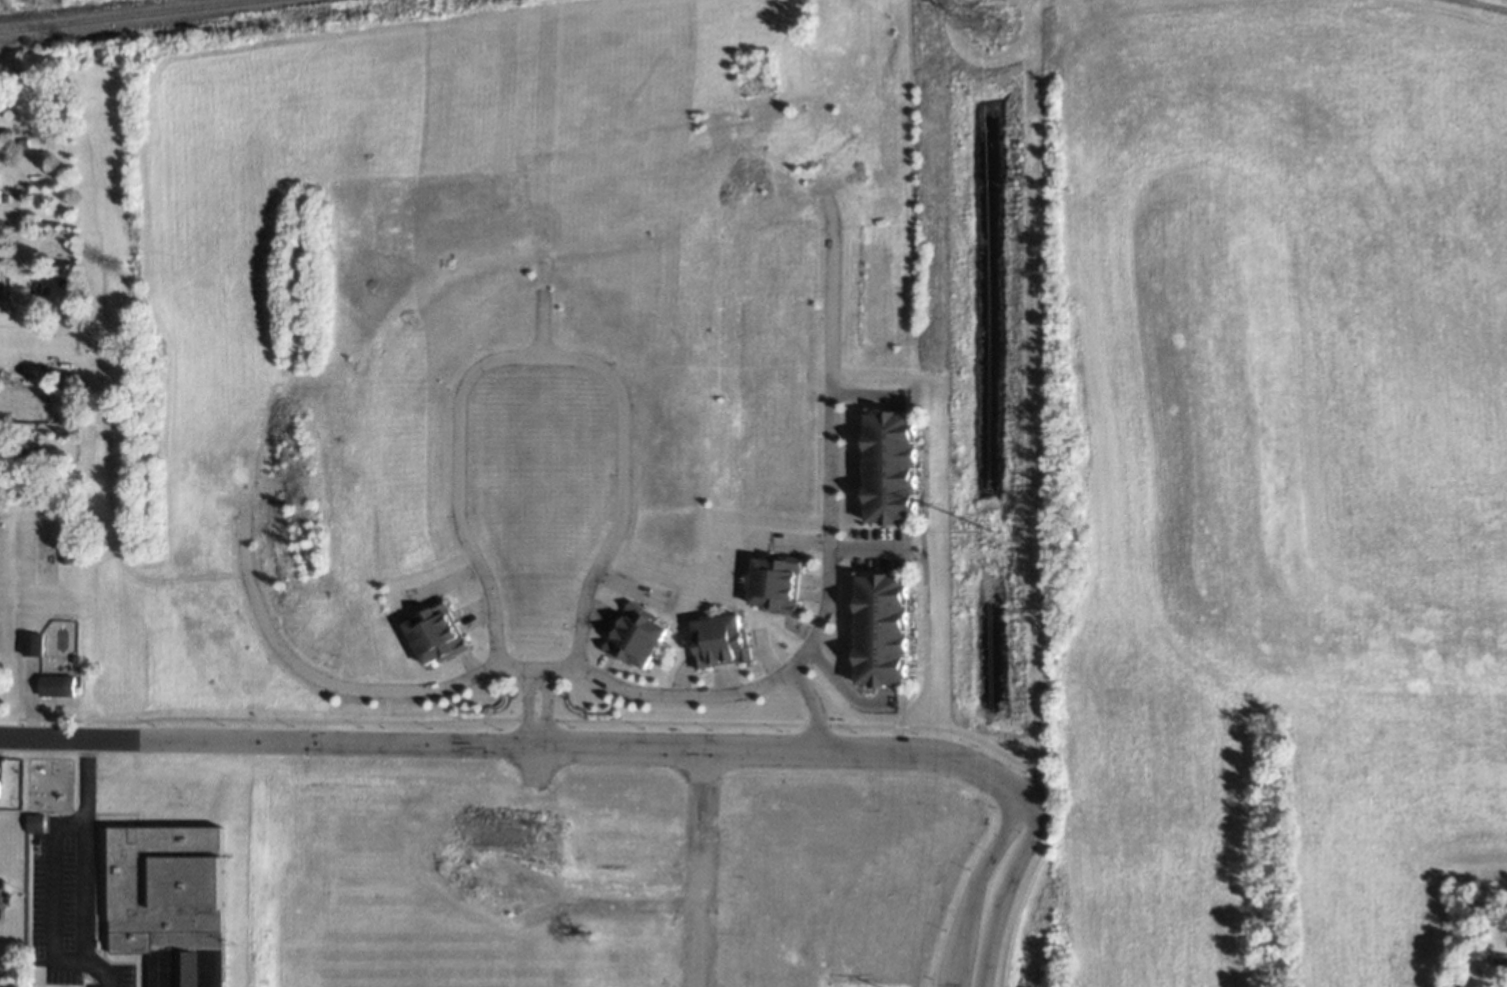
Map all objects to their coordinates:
railway: (129, 15)
power tower: (985, 22)
road: (537, 324)
building: (891, 468)
road: (450, 485)
road: (617, 491)
crop: (1267, 493)
power tower: (991, 535)
road: (874, 549)
park: (41, 560)
road: (825, 567)
building: (775, 583)
road: (925, 589)
park: (7, 625)
building: (882, 630)
building: (433, 634)
building: (636, 636)
building: (721, 641)
building: (29, 646)
road: (837, 682)
building: (57, 686)
road: (327, 686)
road: (27, 699)
road: (39, 699)
road: (809, 705)
road: (50, 718)
road: (529, 726)
road: (510, 746)
building: (35, 823)
road: (84, 869)
road: (968, 887)
road: (1003, 887)
road: (51, 895)
building: (167, 898)

